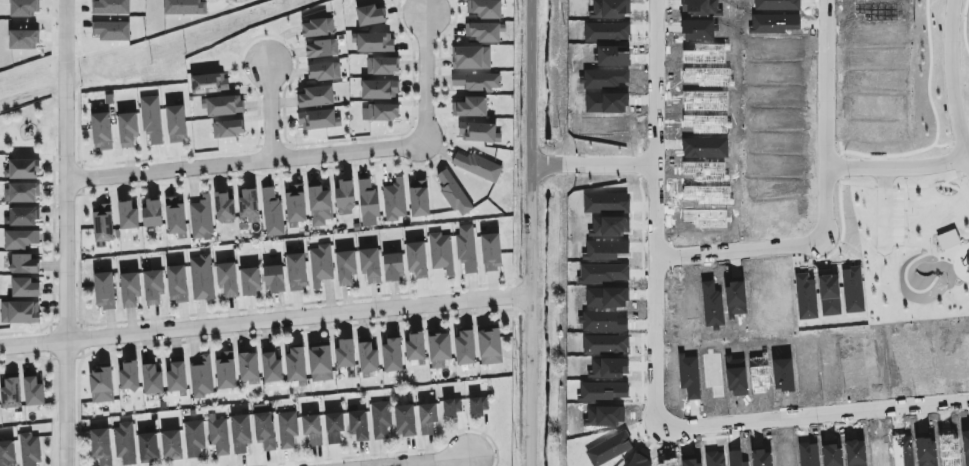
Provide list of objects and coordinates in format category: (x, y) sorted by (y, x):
building: (110, 6)
building: (182, 6)
building: (23, 8)
building: (484, 8)
building: (369, 14)
building: (317, 26)
building: (109, 29)
building: (22, 39)
building: (372, 41)
building: (320, 48)
building: (470, 57)
building: (382, 65)
building: (323, 70)
road: (424, 75)
building: (476, 80)
building: (208, 82)
road: (951, 82)
building: (379, 88)
building: (315, 96)
building: (222, 104)
building: (469, 106)
road: (269, 108)
building: (379, 112)
building: (150, 118)
building: (317, 119)
road: (823, 119)
building: (175, 122)
road: (653, 127)
building: (126, 128)
building: (227, 128)
building: (100, 130)
building: (478, 131)
road: (245, 158)
road: (593, 162)
building: (477, 165)
building: (23, 168)
road: (896, 170)
building: (20, 192)
building: (344, 193)
building: (453, 193)
building: (418, 197)
building: (393, 199)
building: (367, 203)
building: (248, 204)
building: (318, 204)
building: (294, 205)
building: (223, 206)
building: (151, 212)
building: (271, 212)
building: (174, 214)
building: (21, 215)
building: (126, 215)
building: (200, 218)
building: (101, 224)
road: (67, 232)
road: (533, 233)
building: (19, 238)
building: (465, 247)
road: (736, 247)
building: (490, 251)
building: (440, 252)
building: (415, 258)
building: (24, 263)
building: (320, 263)
building: (369, 264)
building: (392, 266)
building: (344, 267)
building: (295, 271)
building: (200, 276)
building: (226, 278)
building: (273, 278)
building: (249, 281)
building: (176, 283)
building: (151, 286)
building: (24, 287)
building: (128, 289)
building: (103, 290)
building: (18, 311)
road: (266, 323)
road: (655, 335)
building: (488, 344)
building: (414, 345)
building: (464, 347)
building: (438, 349)
building: (344, 353)
building: (391, 353)
building: (366, 355)
building: (319, 362)
building: (294, 364)
building: (270, 365)
building: (247, 367)
building: (224, 369)
building: (128, 375)
building: (175, 376)
building: (200, 376)
building: (151, 378)
building: (100, 383)
building: (32, 389)
building: (10, 392)
building: (477, 403)
building: (451, 406)
road: (812, 413)
building: (426, 417)
building: (379, 419)
building: (404, 420)
building: (358, 424)
building: (333, 426)
building: (311, 428)
building: (286, 429)
building: (264, 430)
building: (239, 432)
building: (217, 433)
building: (193, 437)
building: (124, 442)
building: (170, 444)
building: (100, 445)
building: (147, 446)
building: (29, 449)
building: (6, 452)
road: (432, 462)

